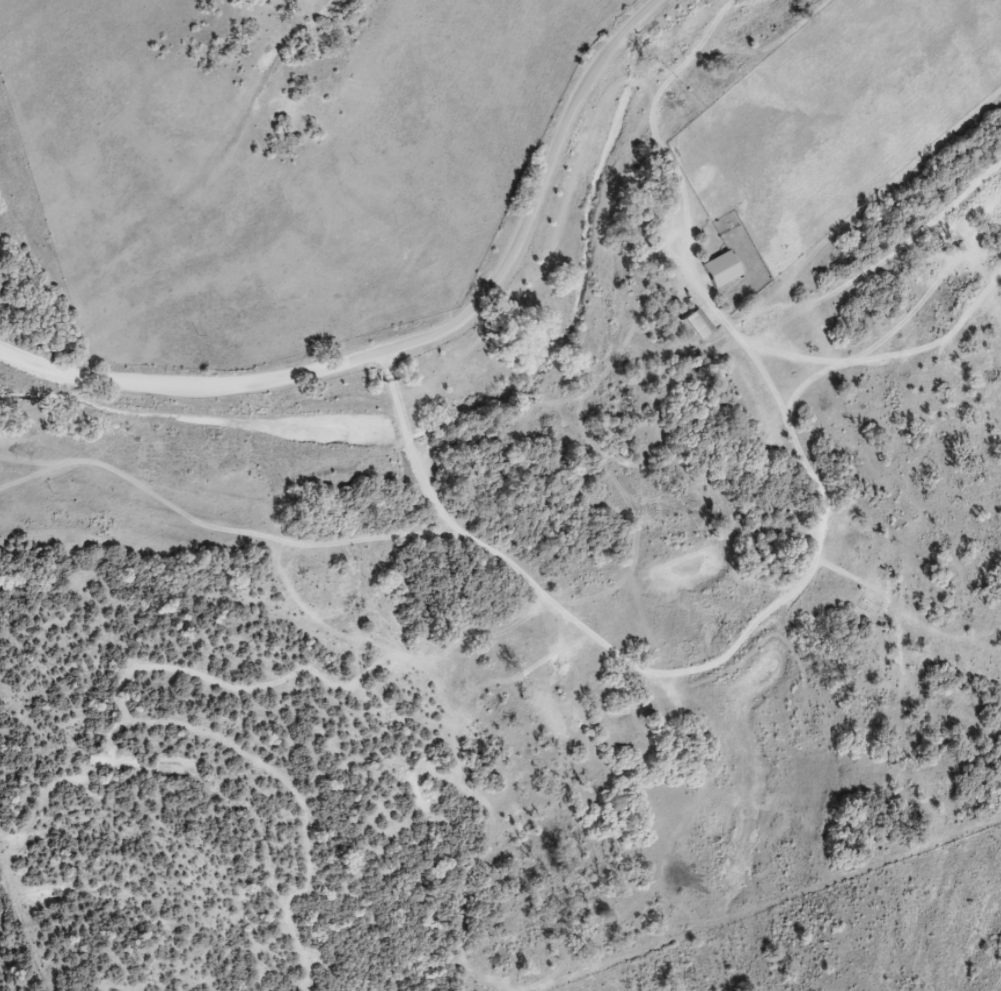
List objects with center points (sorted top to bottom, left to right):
building: (727, 271)
building: (704, 326)
road: (422, 335)

